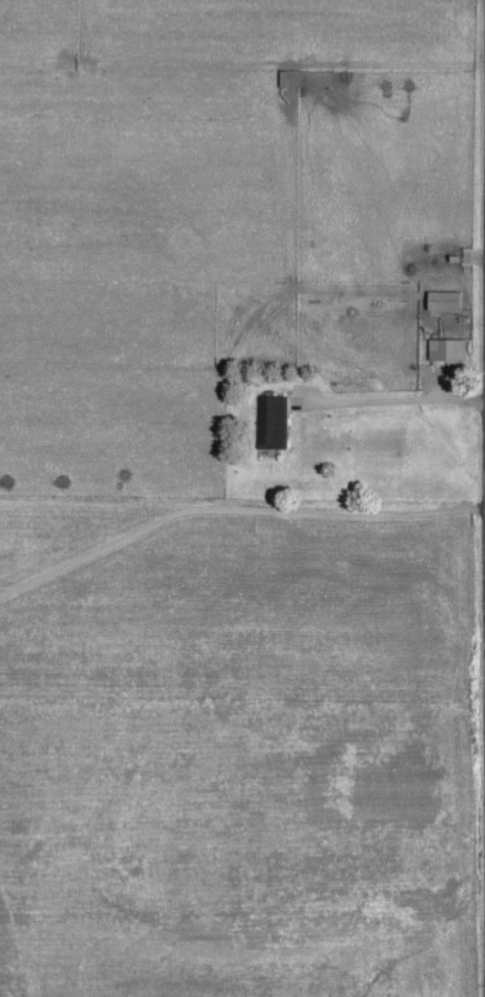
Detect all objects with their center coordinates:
building: (448, 299)
building: (450, 348)
building: (274, 421)

